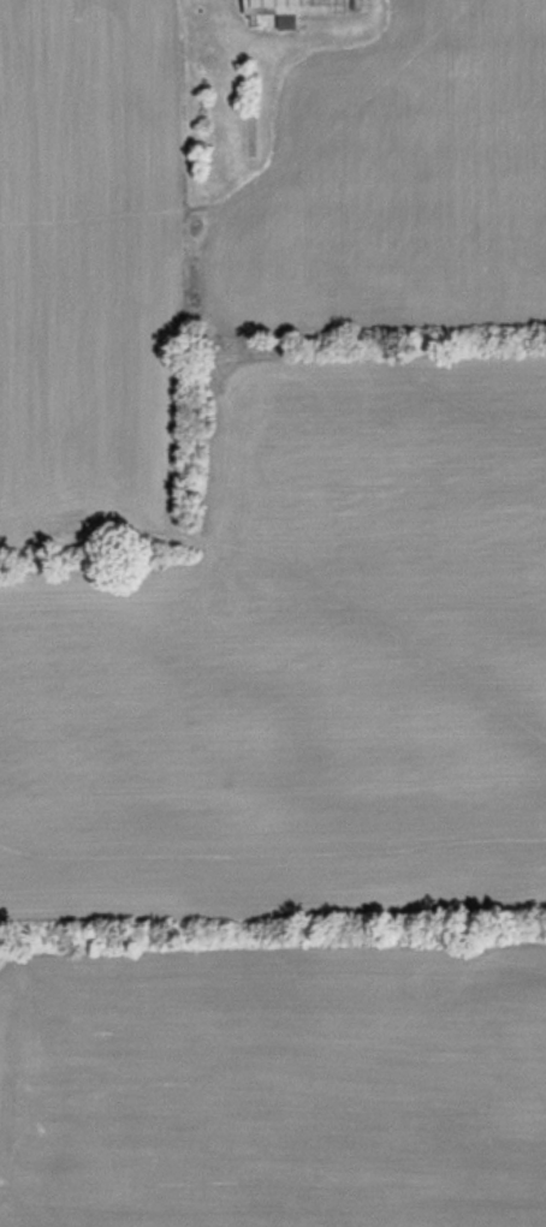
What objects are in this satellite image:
building: (291, 7)

